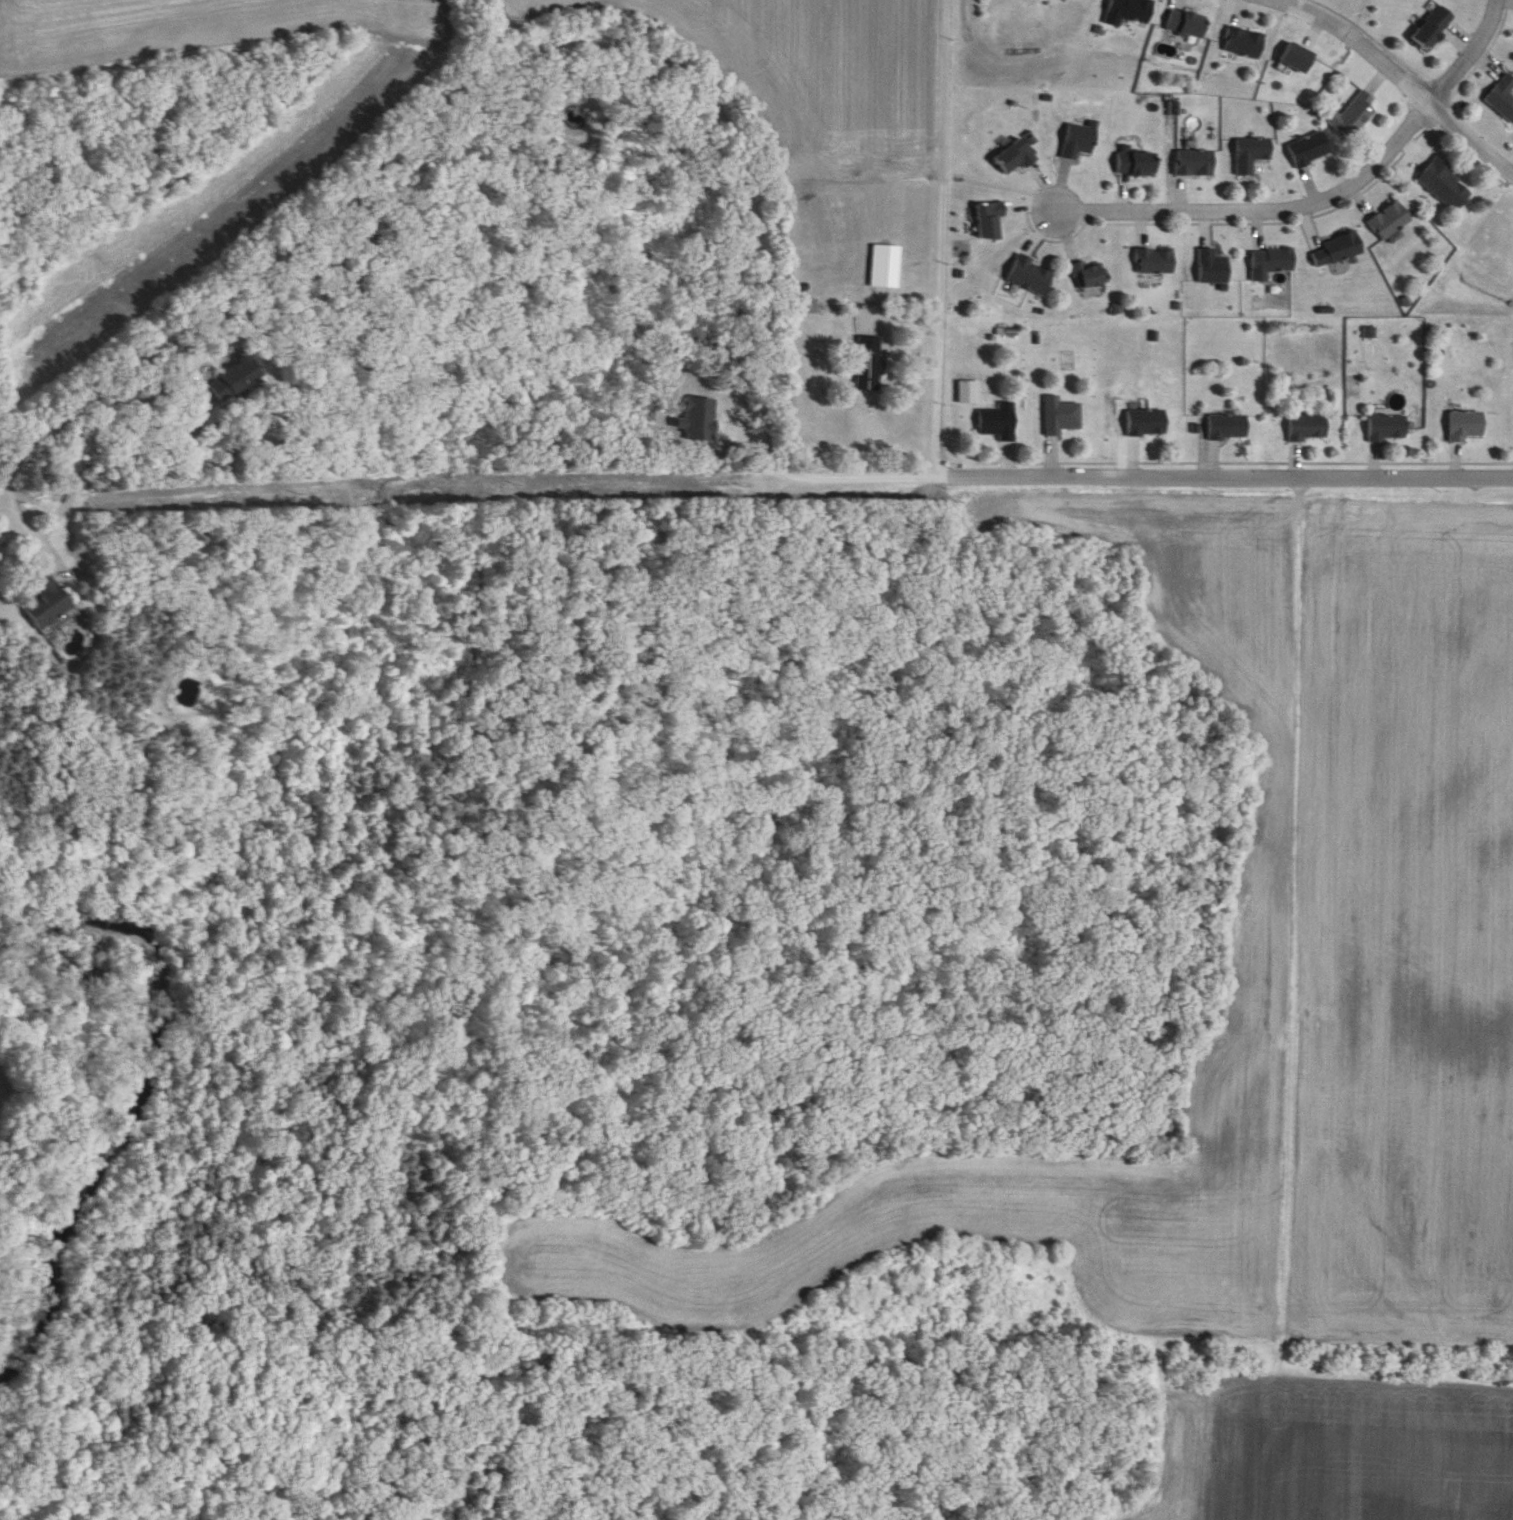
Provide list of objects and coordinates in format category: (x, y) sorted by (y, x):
building: (1128, 12)
building: (1187, 25)
building: (1435, 29)
building: (1245, 44)
building: (1298, 59)
road: (485, 71)
road: (1405, 77)
building: (1355, 117)
building: (1080, 141)
building: (1310, 151)
building: (1252, 156)
building: (1017, 158)
building: (1195, 164)
building: (1137, 165)
building: (1447, 187)
road: (1327, 203)
building: (992, 222)
building: (1390, 222)
road: (945, 239)
building: (1337, 252)
building: (1156, 262)
building: (1271, 264)
building: (887, 268)
building: (1213, 269)
building: (1032, 277)
building: (1092, 277)
building: (870, 348)
building: (237, 387)
building: (1062, 418)
building: (1001, 423)
building: (1147, 424)
building: (1468, 427)
building: (1227, 429)
building: (1308, 429)
building: (1387, 429)
road: (1226, 476)
road: (857, 480)
building: (73, 484)
road: (389, 487)
road: (2, 494)
road: (22, 516)
road: (41, 540)
building: (48, 601)
river: (123, 1086)

